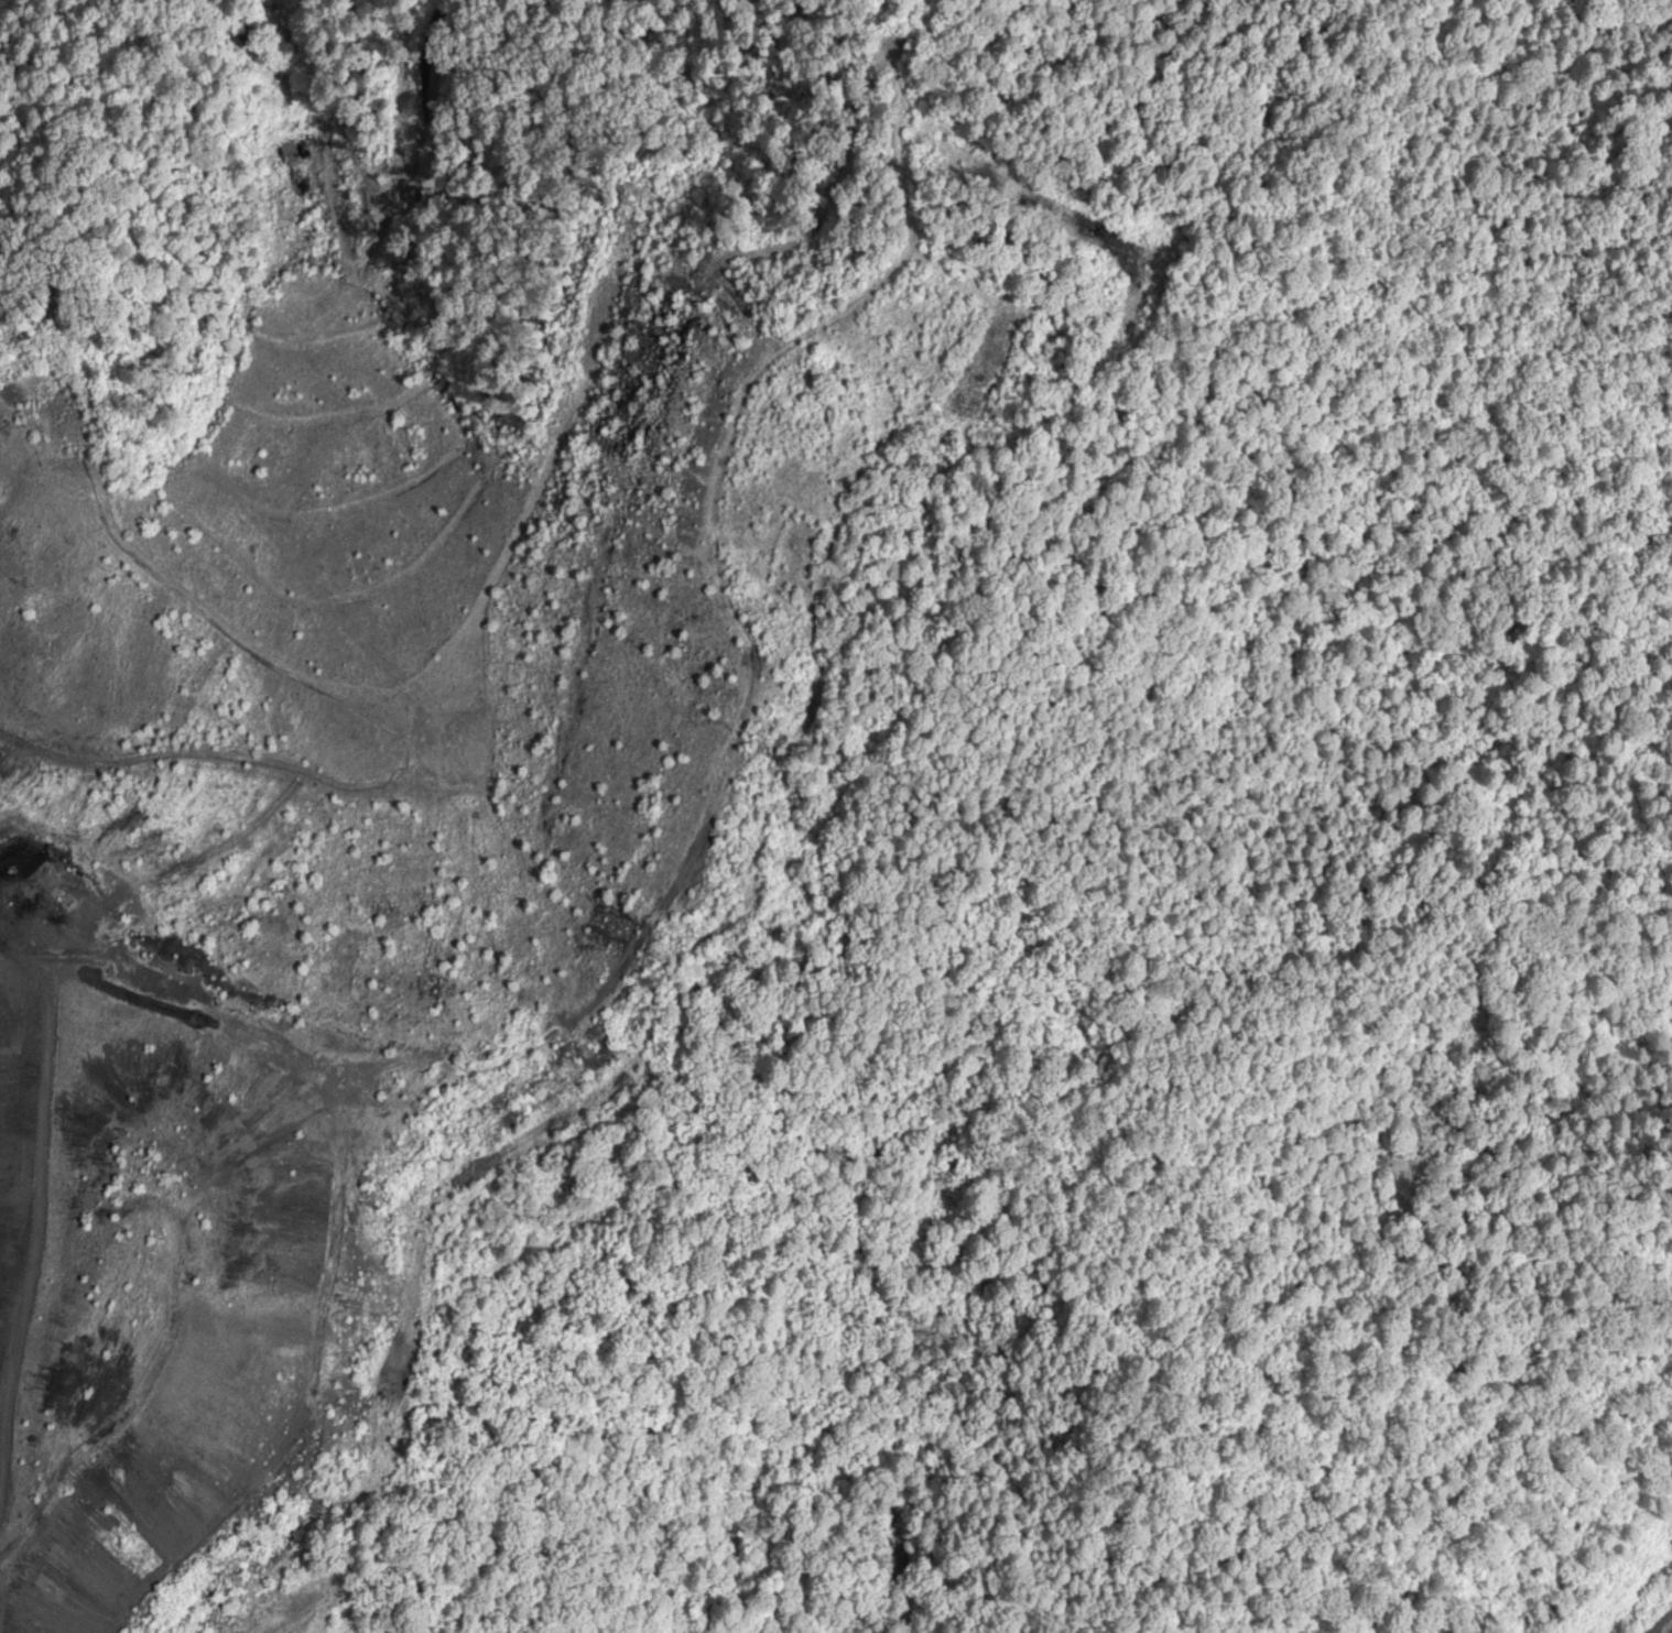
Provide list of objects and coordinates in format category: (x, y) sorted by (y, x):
road: (1632, 1612)

